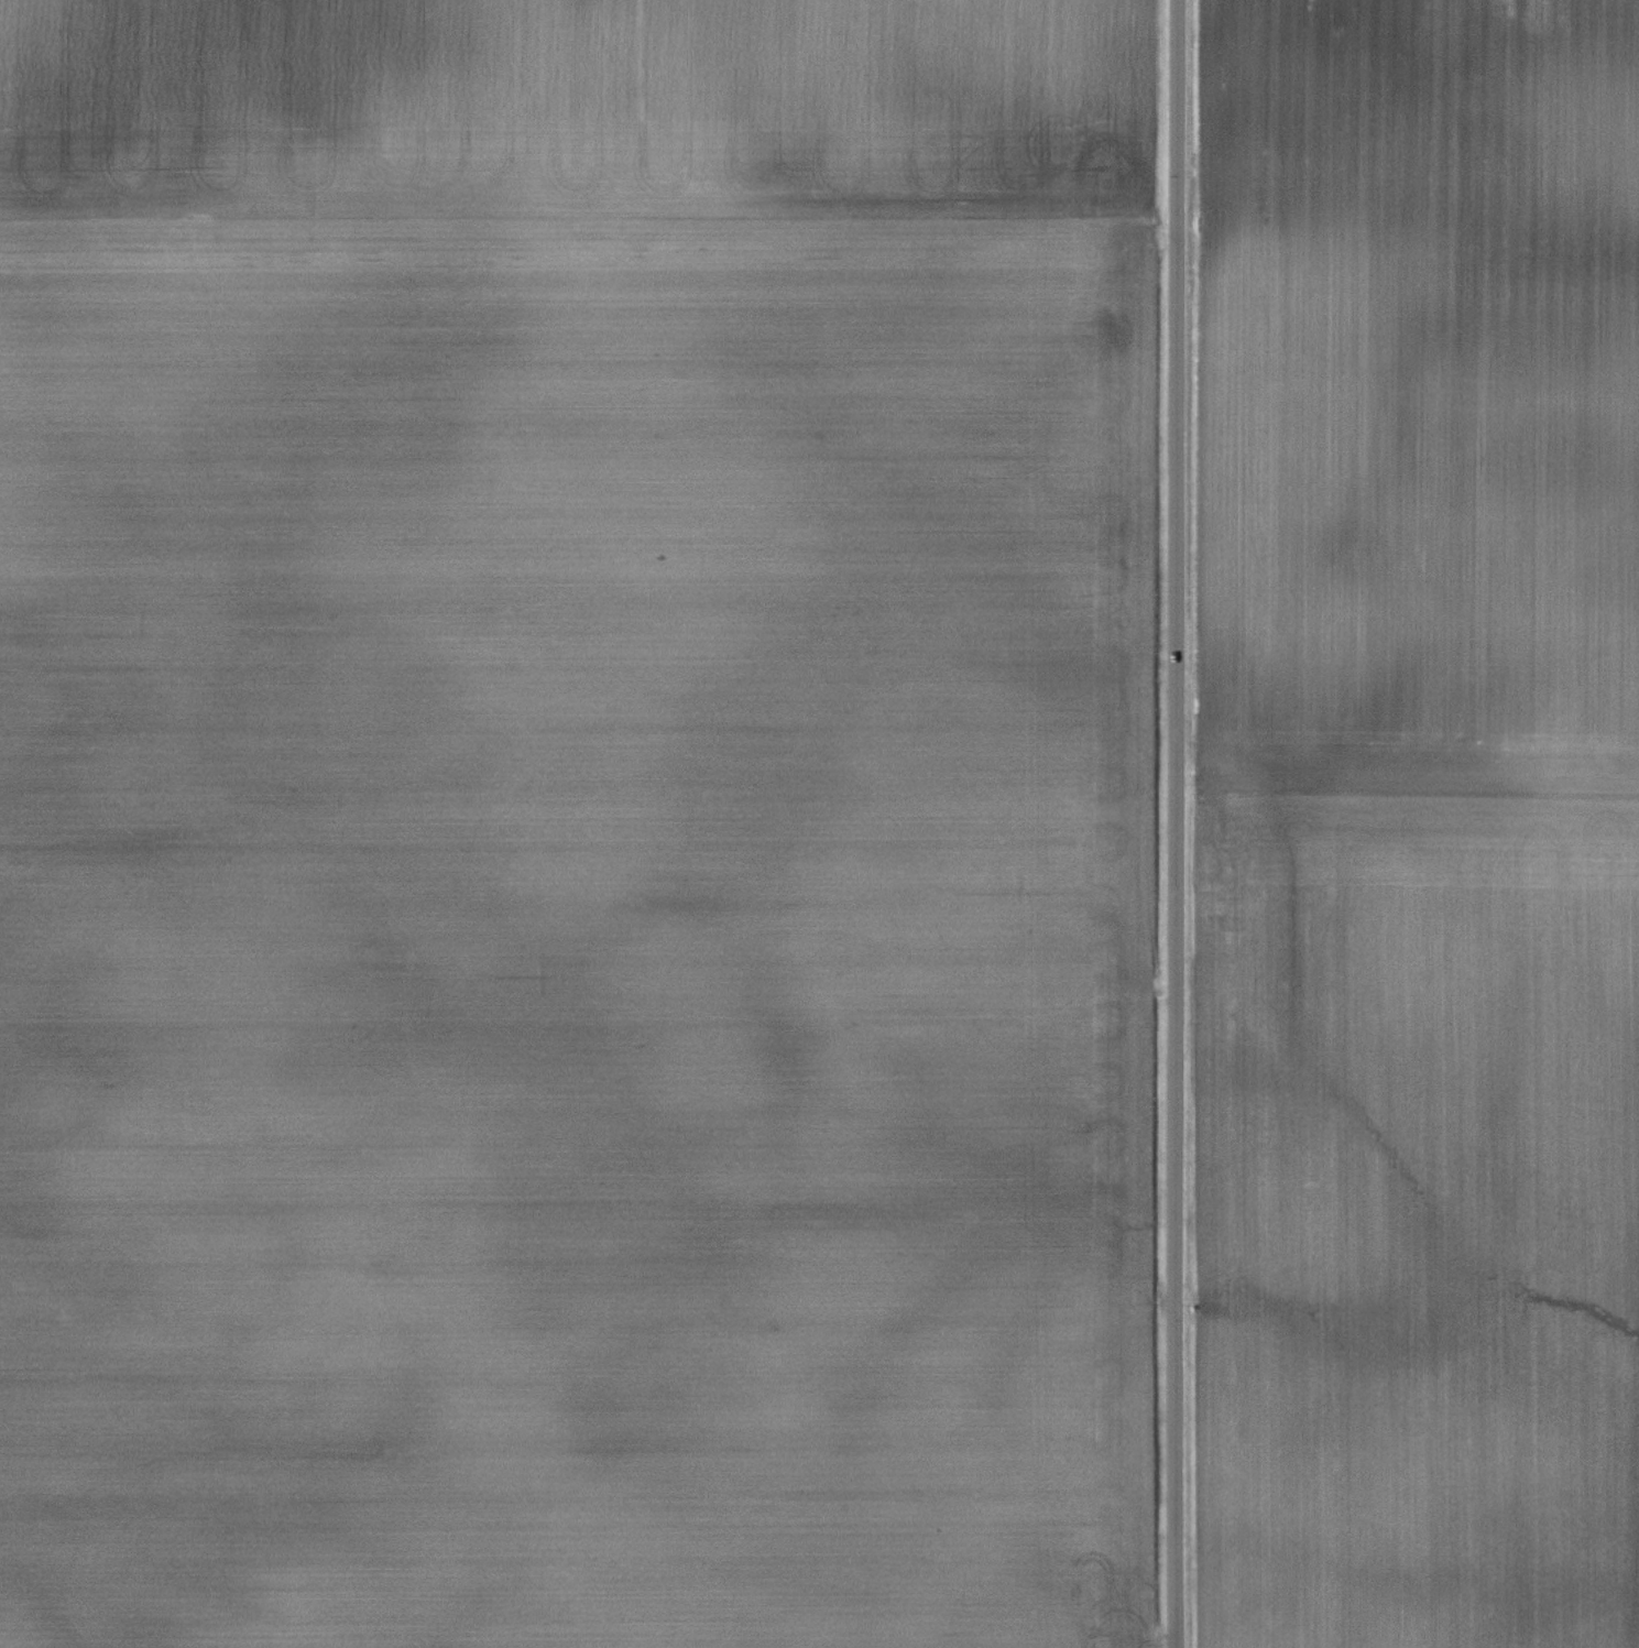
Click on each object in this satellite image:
road: (1171, 823)

